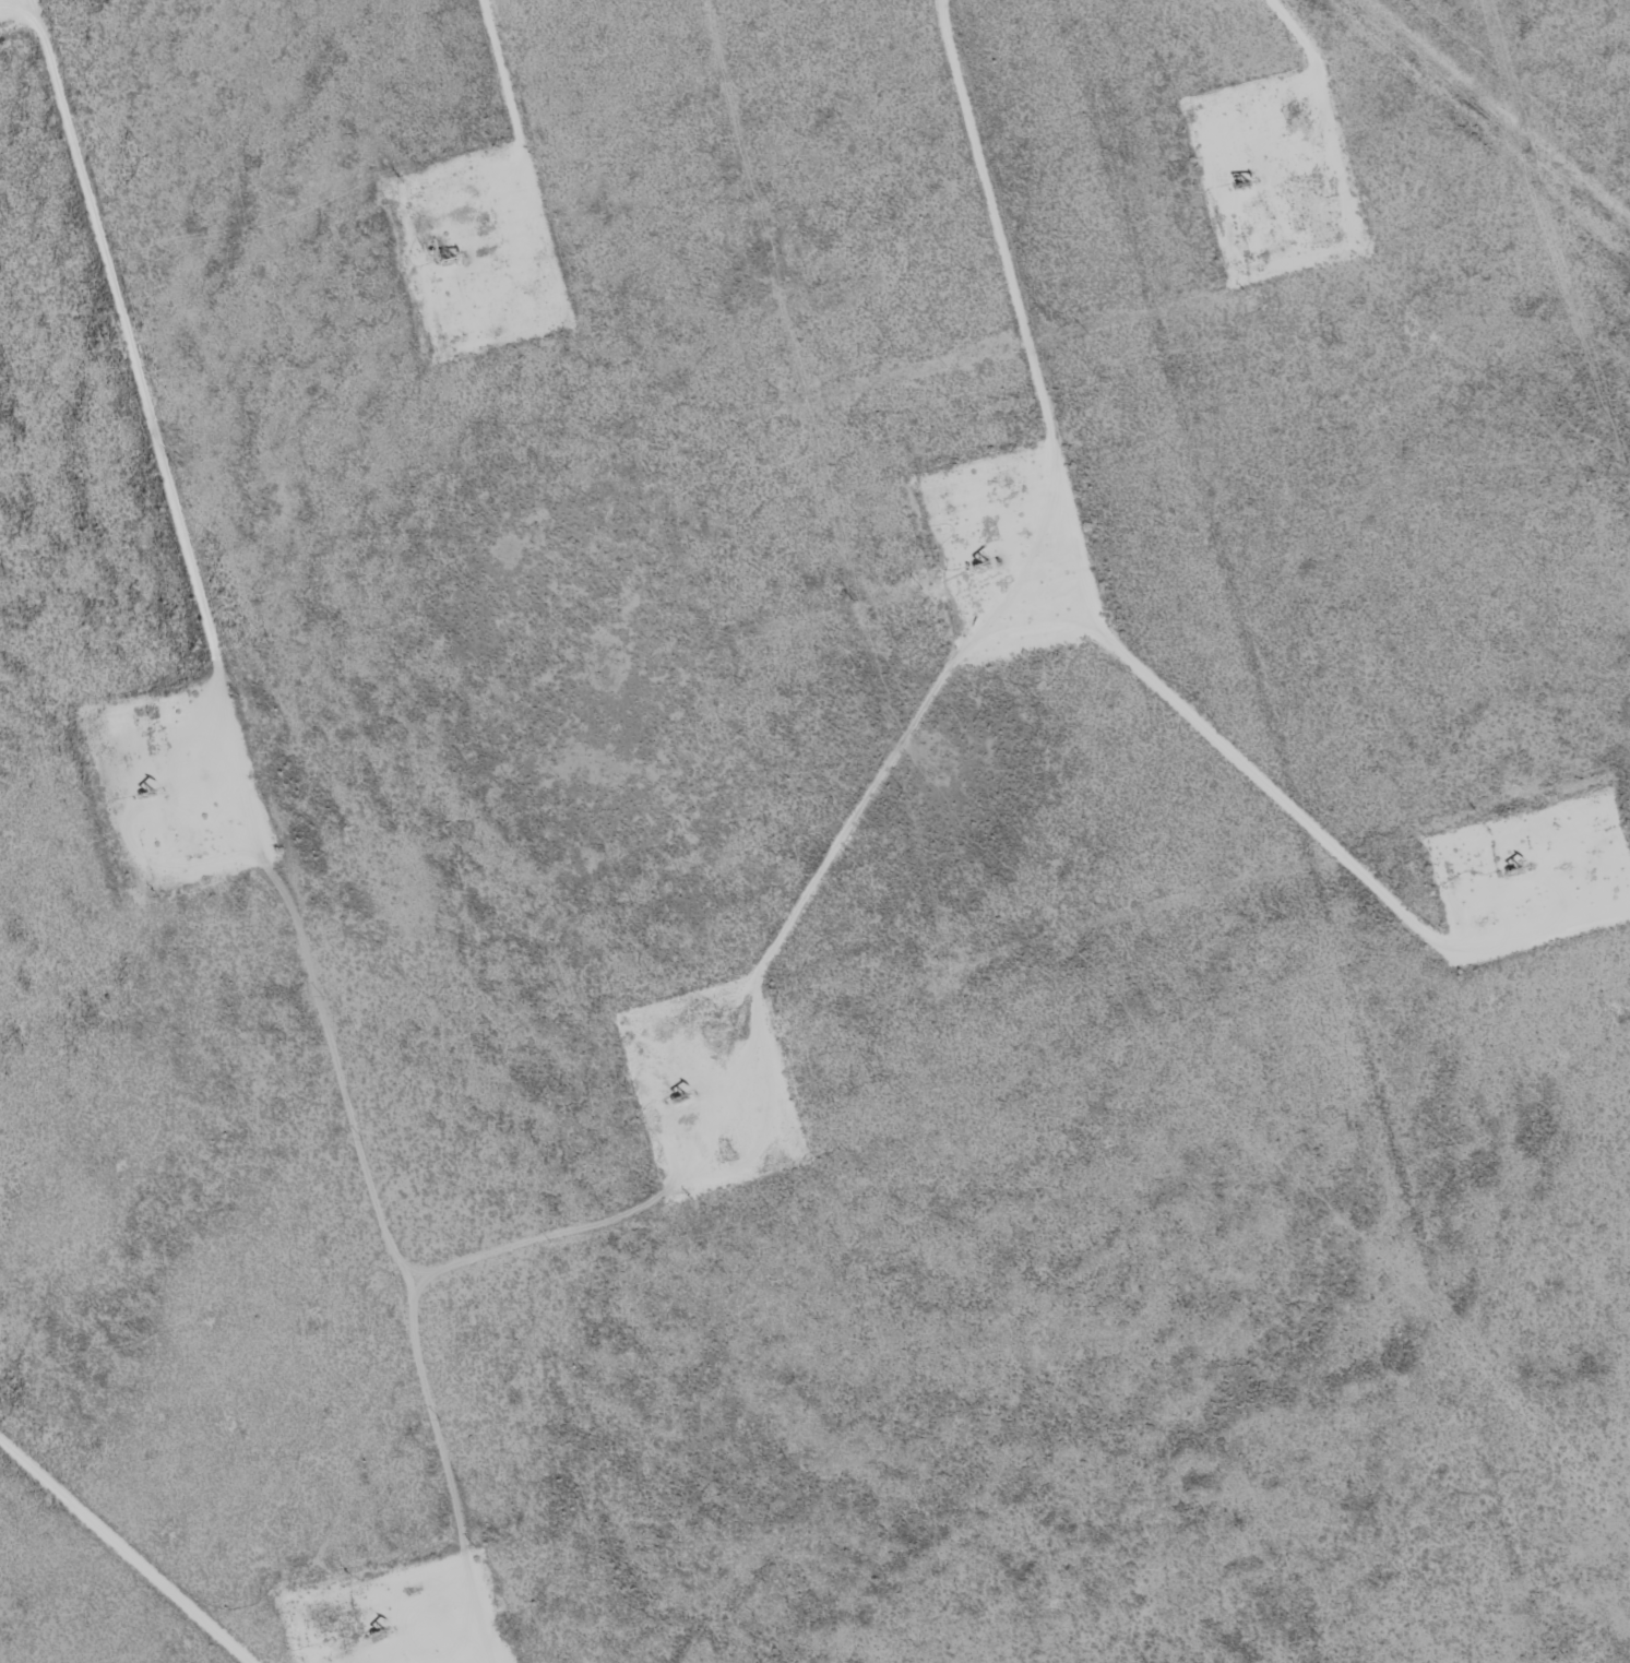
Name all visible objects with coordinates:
road: (1079, 543)
road: (897, 759)
road: (132, 1547)

